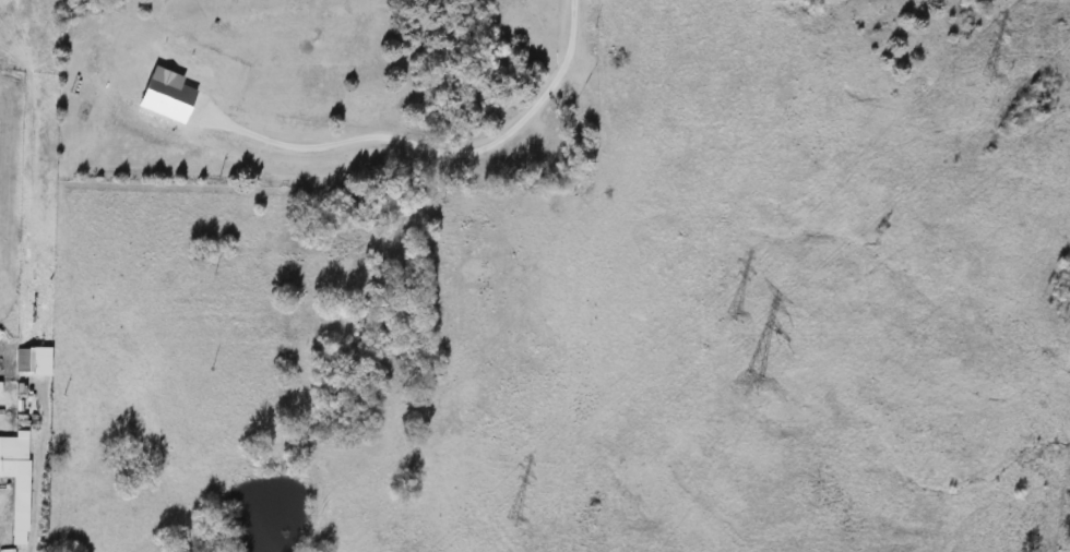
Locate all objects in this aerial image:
power tower: (973, 72)
road: (423, 154)
power tower: (720, 312)
building: (29, 361)
power tower: (747, 381)
building: (14, 478)
power tower: (500, 518)

